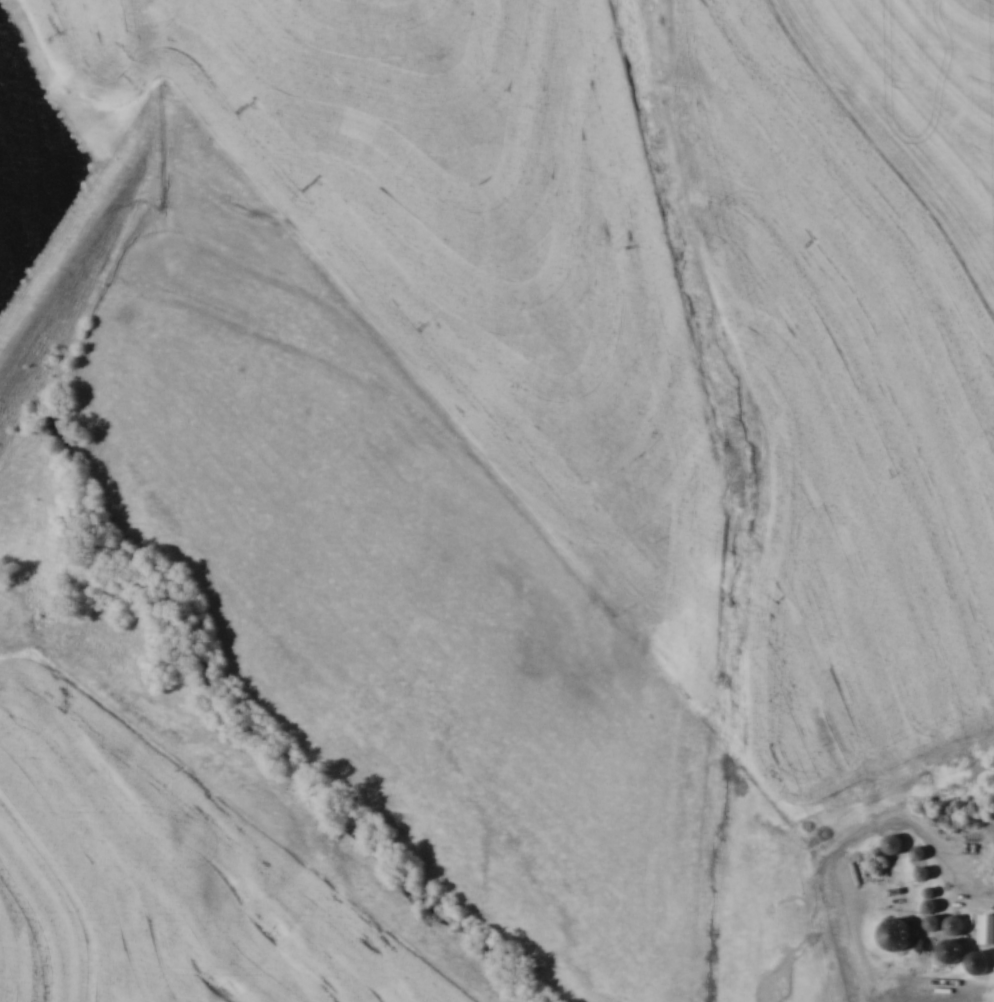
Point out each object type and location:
building: (896, 844)
building: (937, 922)
building: (957, 926)
building: (988, 929)
building: (955, 951)
building: (984, 964)

